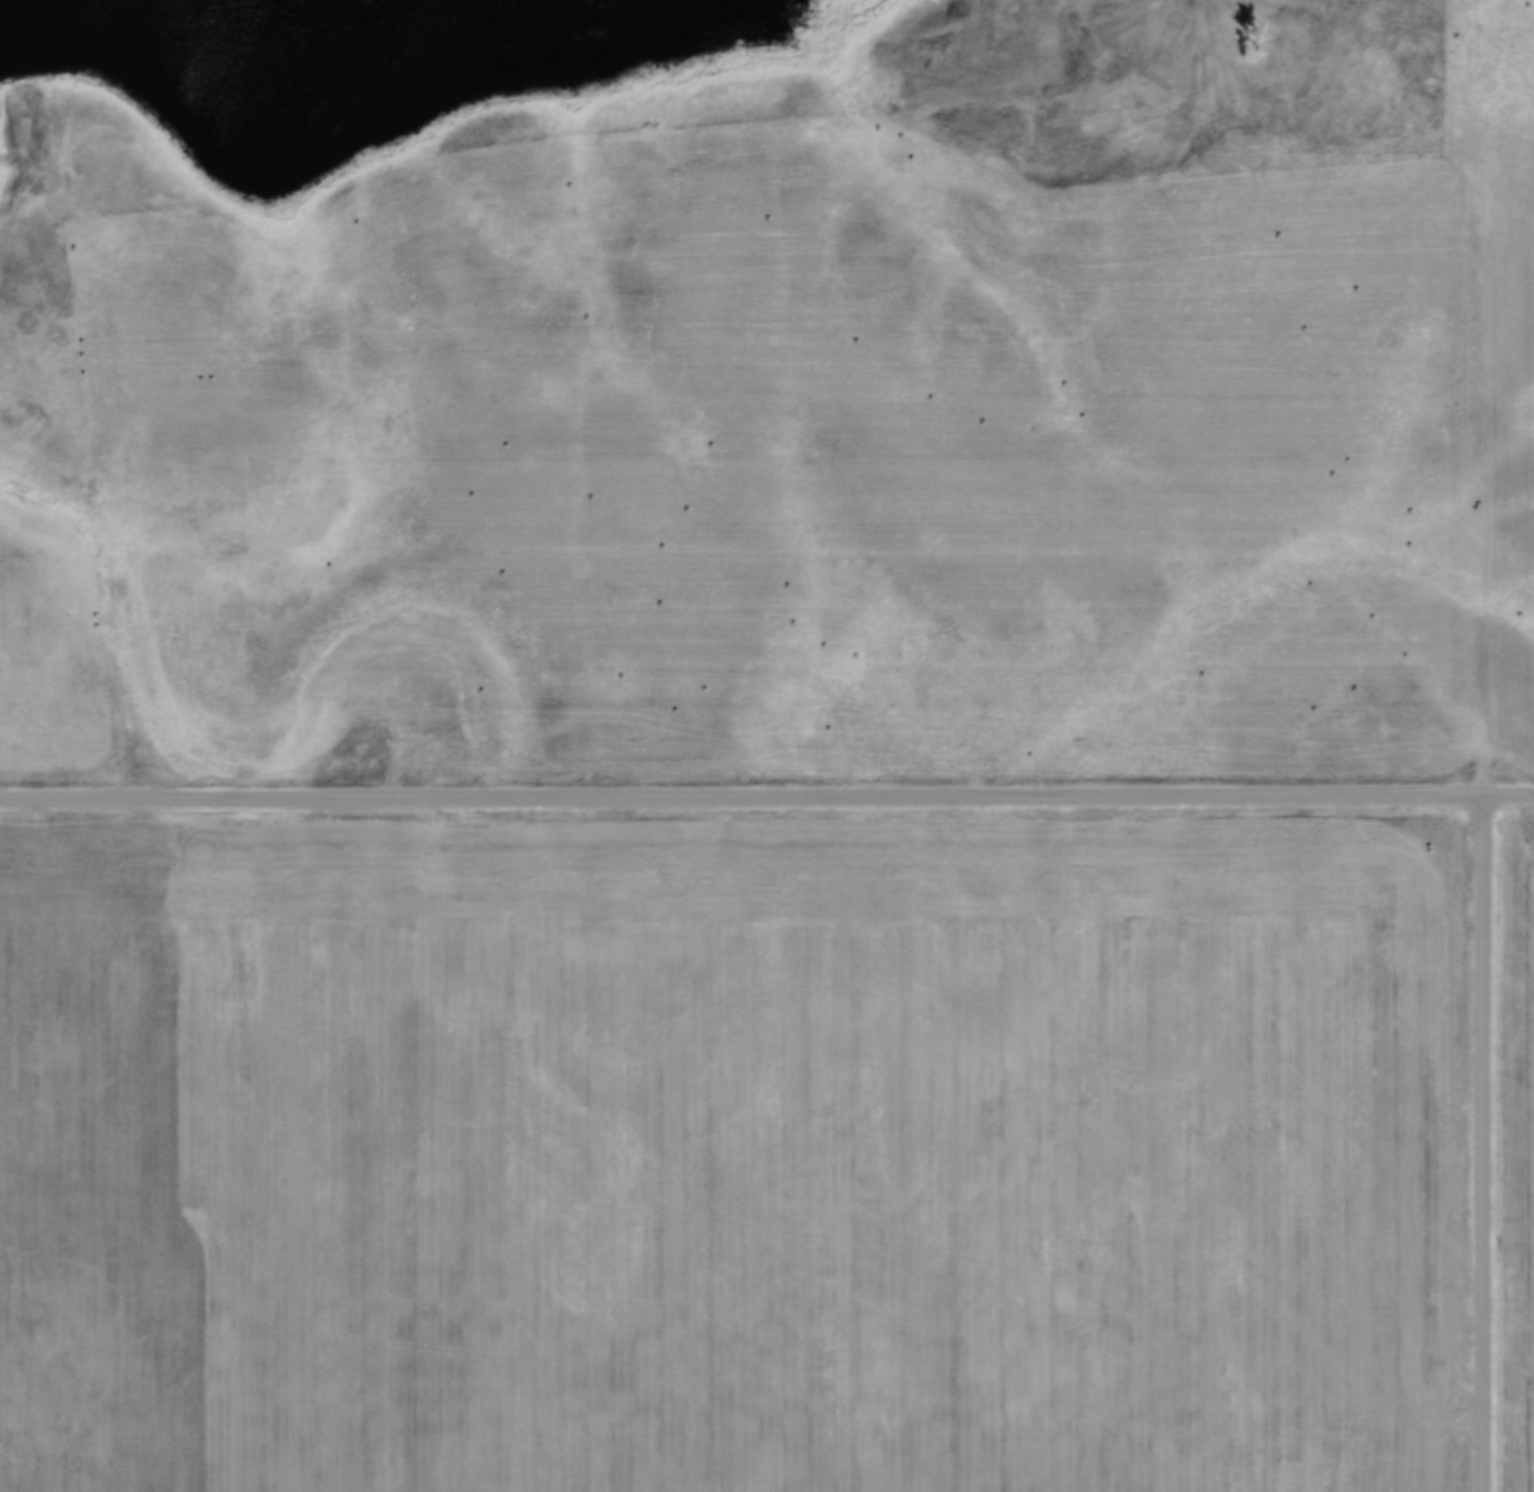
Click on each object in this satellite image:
road: (767, 799)
road: (1491, 1145)

